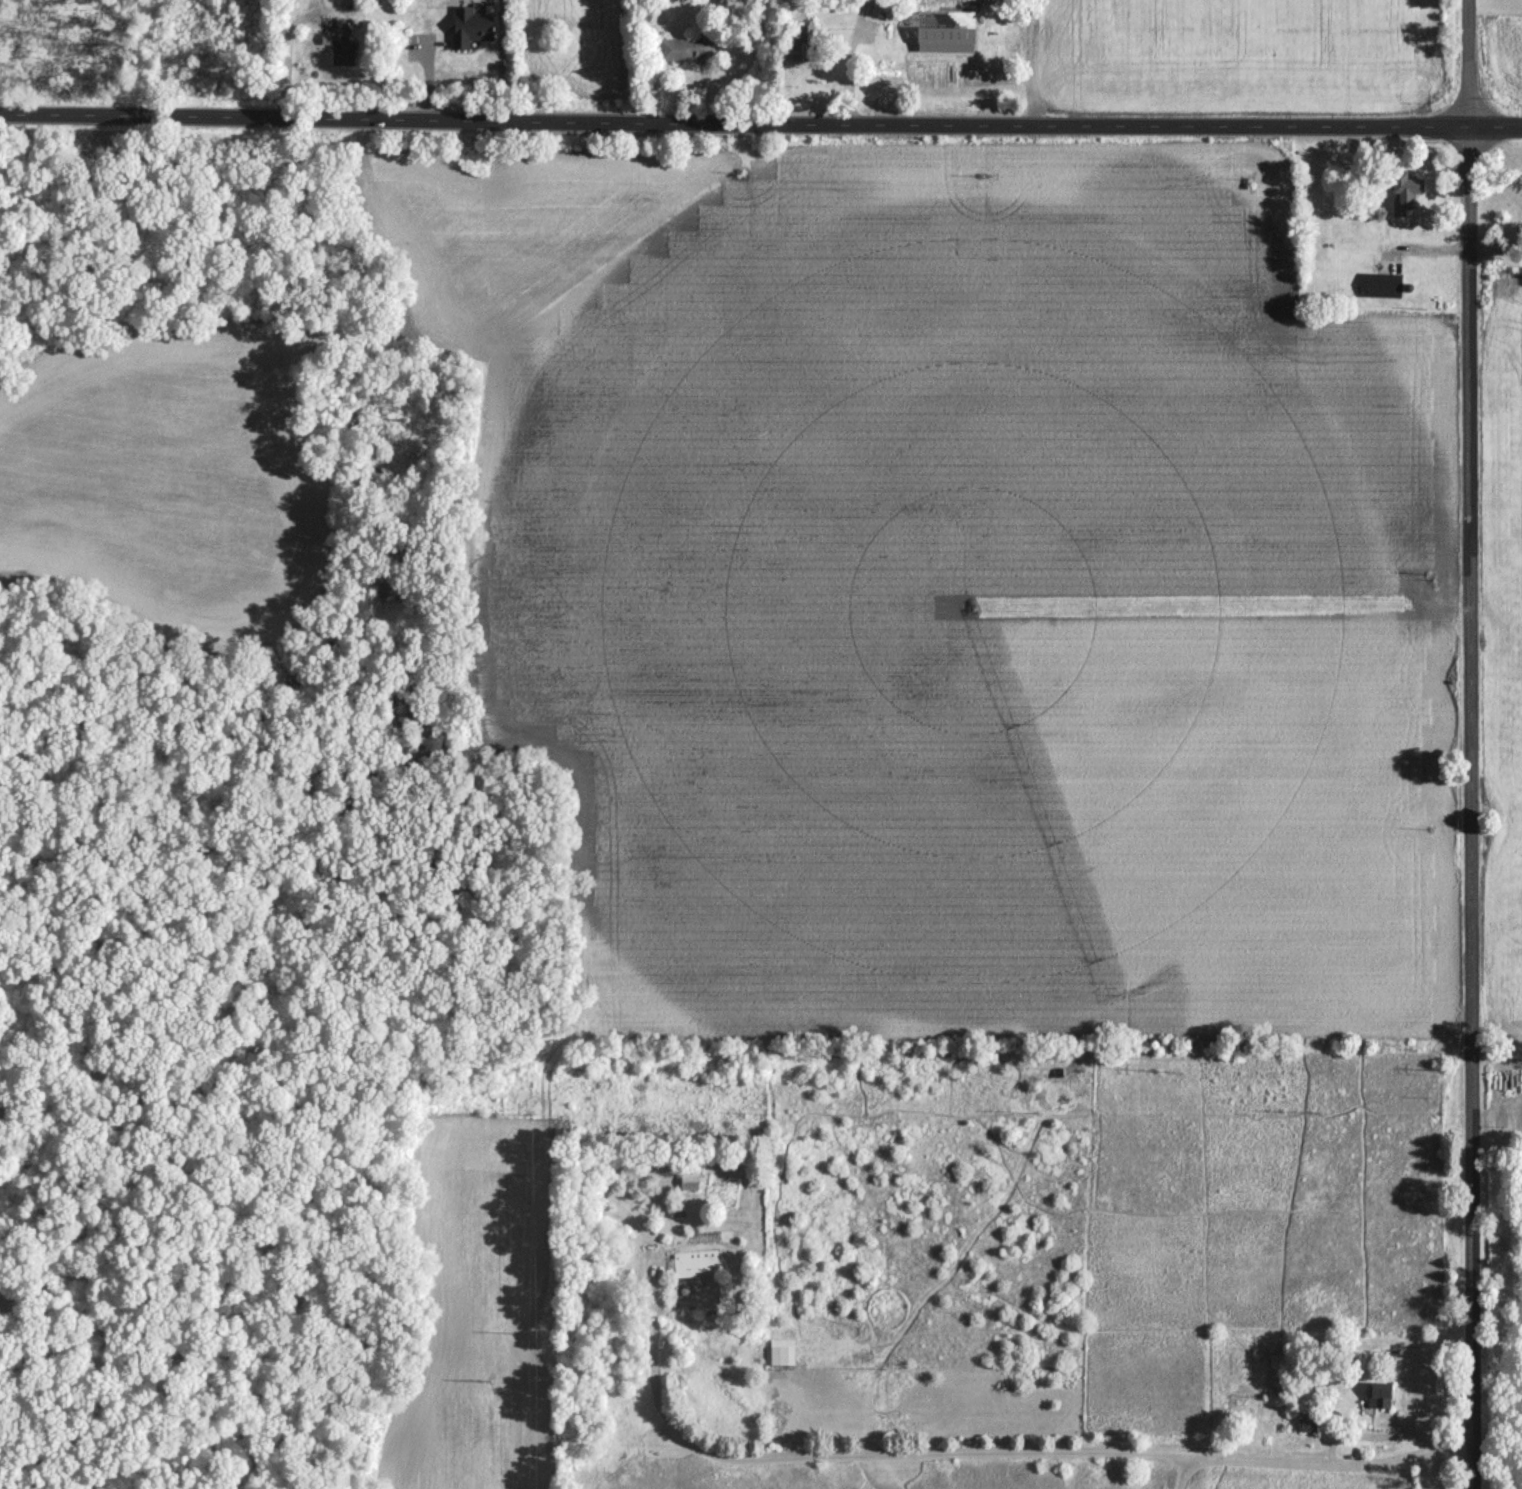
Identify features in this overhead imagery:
building: (470, 26)
building: (802, 43)
building: (685, 48)
road: (287, 56)
road: (502, 61)
road: (760, 123)
building: (1404, 191)
road: (1494, 252)
building: (1383, 284)
road: (1467, 744)
power tower: (1442, 1071)
power tower: (1163, 1075)
power tower: (825, 1077)
power tower: (491, 1081)
power tower: (1317, 1114)
power tower: (1038, 1115)
power tower: (774, 1116)
power tower: (532, 1117)
road: (1495, 1144)
building: (689, 1180)
building: (693, 1262)
power tower: (532, 1330)
building: (781, 1351)
power tower: (491, 1384)
building: (1379, 1394)
road: (998, 1449)
road: (1181, 1471)

